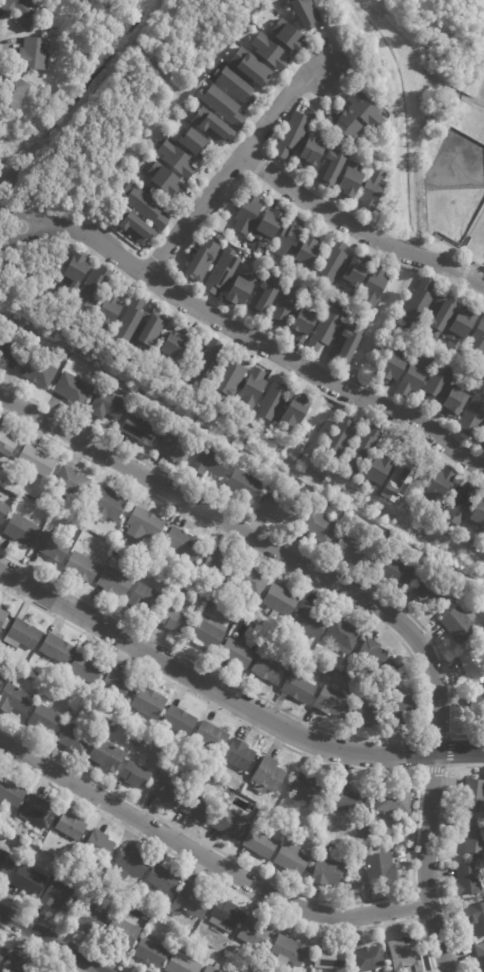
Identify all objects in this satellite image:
building: (24, 10)
building: (305, 12)
building: (288, 36)
building: (271, 52)
building: (34, 53)
building: (251, 67)
building: (237, 86)
building: (13, 93)
building: (222, 105)
building: (363, 109)
road: (280, 122)
building: (347, 124)
building: (214, 125)
building: (293, 134)
building: (192, 141)
building: (308, 153)
building: (176, 158)
road: (258, 164)
building: (329, 165)
road: (232, 166)
building: (163, 178)
road: (259, 179)
building: (349, 182)
building: (372, 189)
road: (316, 205)
building: (145, 206)
building: (248, 213)
road: (24, 216)
building: (265, 225)
building: (134, 226)
road: (25, 236)
building: (287, 236)
building: (308, 253)
road: (410, 255)
building: (199, 260)
building: (333, 262)
road: (410, 266)
road: (476, 267)
road: (455, 269)
building: (358, 270)
building: (75, 271)
building: (220, 272)
road: (463, 273)
road: (454, 281)
building: (375, 286)
building: (93, 287)
road: (165, 289)
building: (238, 289)
building: (266, 294)
building: (420, 301)
building: (284, 307)
building: (108, 312)
building: (441, 319)
building: (130, 320)
building: (300, 324)
building: (462, 324)
building: (327, 327)
building: (148, 333)
building: (478, 338)
building: (344, 342)
building: (171, 344)
road: (266, 347)
road: (244, 348)
building: (9, 354)
building: (395, 365)
building: (208, 367)
building: (38, 371)
building: (483, 372)
building: (415, 377)
building: (229, 378)
building: (439, 382)
building: (72, 388)
building: (250, 388)
building: (274, 401)
building: (452, 402)
building: (107, 405)
building: (296, 410)
building: (471, 416)
building: (140, 429)
building: (341, 439)
building: (481, 439)
building: (7, 443)
building: (175, 447)
building: (363, 450)
building: (37, 461)
building: (211, 462)
building: (378, 472)
building: (72, 482)
building: (399, 482)
building: (277, 483)
building: (244, 485)
building: (441, 485)
building: (106, 503)
building: (461, 503)
building: (281, 508)
building: (4, 512)
building: (345, 515)
building: (476, 516)
building: (144, 525)
building: (319, 525)
building: (22, 530)
road: (277, 537)
building: (119, 538)
building: (183, 543)
building: (53, 547)
building: (350, 547)
building: (405, 548)
building: (483, 553)
building: (145, 555)
building: (219, 566)
building: (82, 567)
building: (394, 570)
building: (114, 581)
building: (250, 581)
building: (179, 590)
building: (431, 591)
road: (358, 597)
building: (146, 599)
building: (281, 601)
building: (211, 603)
building: (3, 618)
building: (309, 619)
building: (175, 620)
building: (460, 623)
building: (24, 634)
building: (208, 634)
building: (342, 636)
building: (272, 639)
building: (265, 645)
building: (57, 649)
building: (237, 654)
building: (373, 654)
building: (474, 666)
building: (269, 667)
building: (350, 668)
building: (88, 669)
building: (3, 671)
building: (117, 683)
building: (300, 687)
road: (424, 690)
building: (15, 699)
road: (231, 699)
building: (331, 702)
building: (149, 703)
building: (482, 708)
building: (403, 709)
building: (368, 713)
building: (86, 716)
building: (44, 720)
building: (180, 721)
building: (110, 728)
building: (212, 736)
building: (75, 739)
building: (156, 741)
road: (449, 752)
road: (420, 753)
building: (106, 755)
building: (240, 755)
building: (136, 775)
building: (269, 776)
building: (310, 791)
building: (168, 792)
building: (11, 793)
building: (474, 796)
building: (347, 801)
building: (394, 802)
building: (199, 809)
building: (38, 812)
building: (232, 825)
building: (71, 826)
road: (415, 826)
building: (14, 827)
building: (363, 834)
building: (473, 837)
building: (260, 844)
building: (99, 846)
building: (326, 848)
road: (435, 852)
road: (206, 858)
building: (293, 860)
building: (6, 861)
building: (132, 864)
building: (382, 870)
building: (327, 872)
building: (469, 879)
building: (29, 880)
building: (163, 880)
road: (225, 884)
road: (425, 884)
building: (94, 888)
building: (62, 892)
building: (190, 902)
road: (407, 906)
building: (91, 909)
building: (146, 917)
building: (226, 917)
building: (476, 917)
building: (123, 931)
building: (201, 932)
road: (65, 934)
building: (254, 934)
road: (52, 942)
road: (40, 949)
building: (2, 953)
building: (151, 953)
building: (289, 953)
building: (406, 956)
building: (480, 957)
building: (331, 959)
building: (369, 959)
building: (182, 964)
building: (18, 965)
building: (213, 968)

